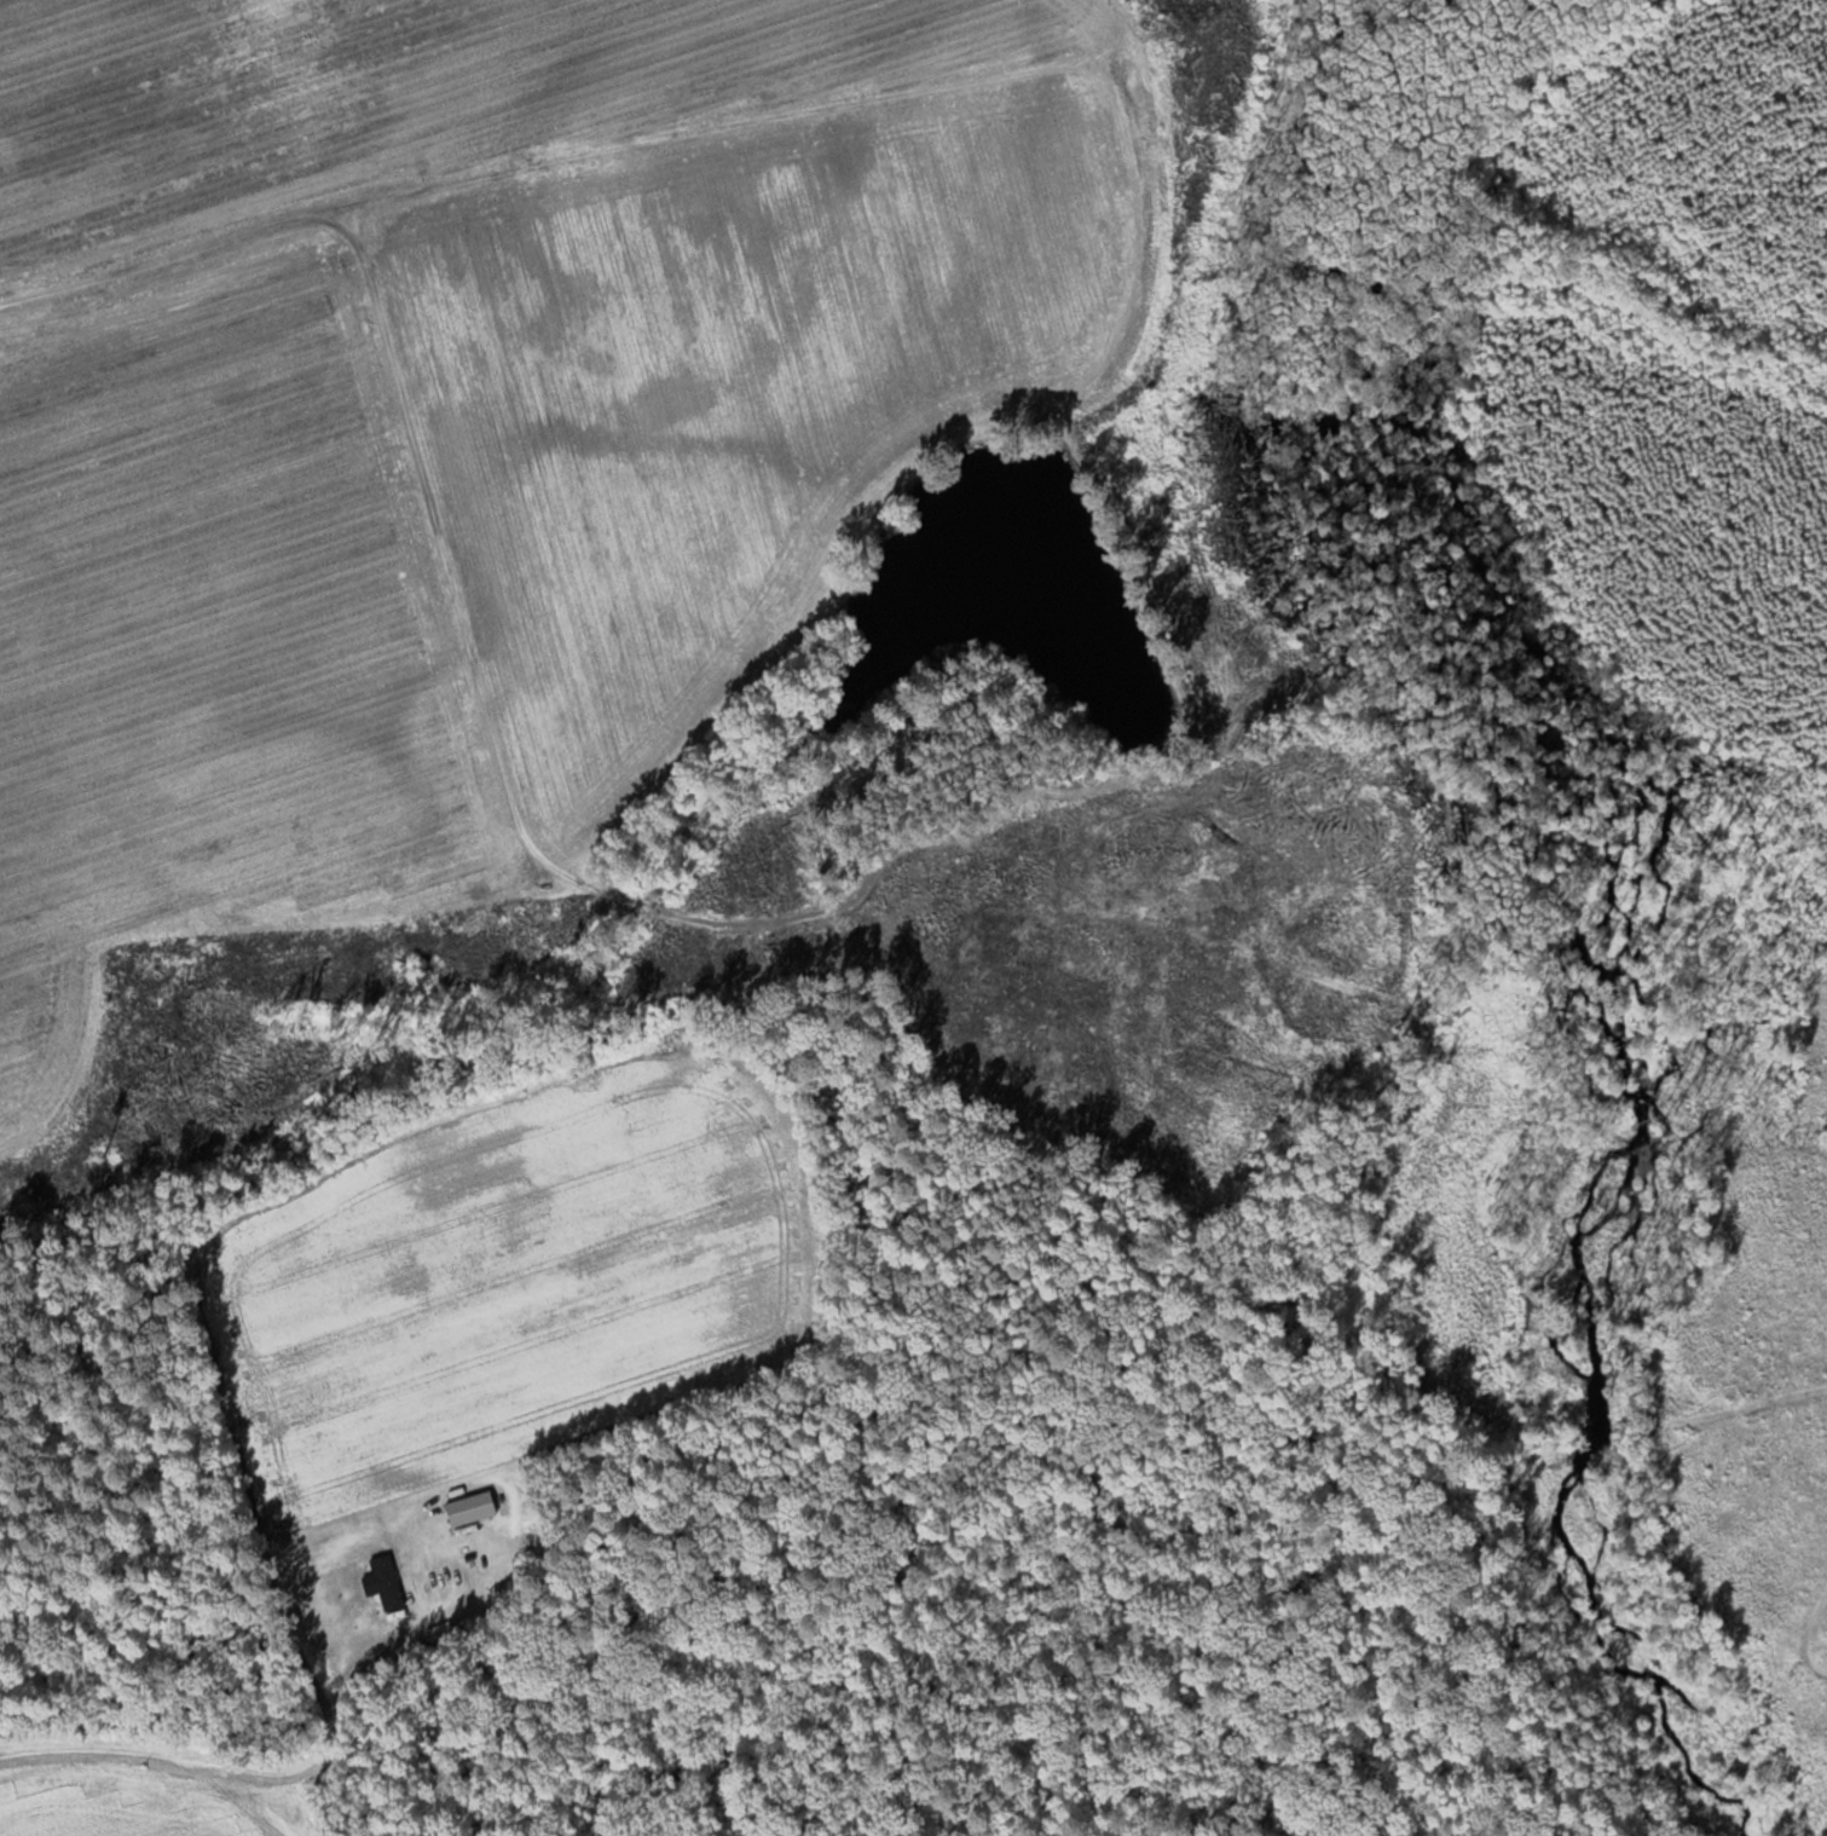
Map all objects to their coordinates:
building: (386, 1583)

